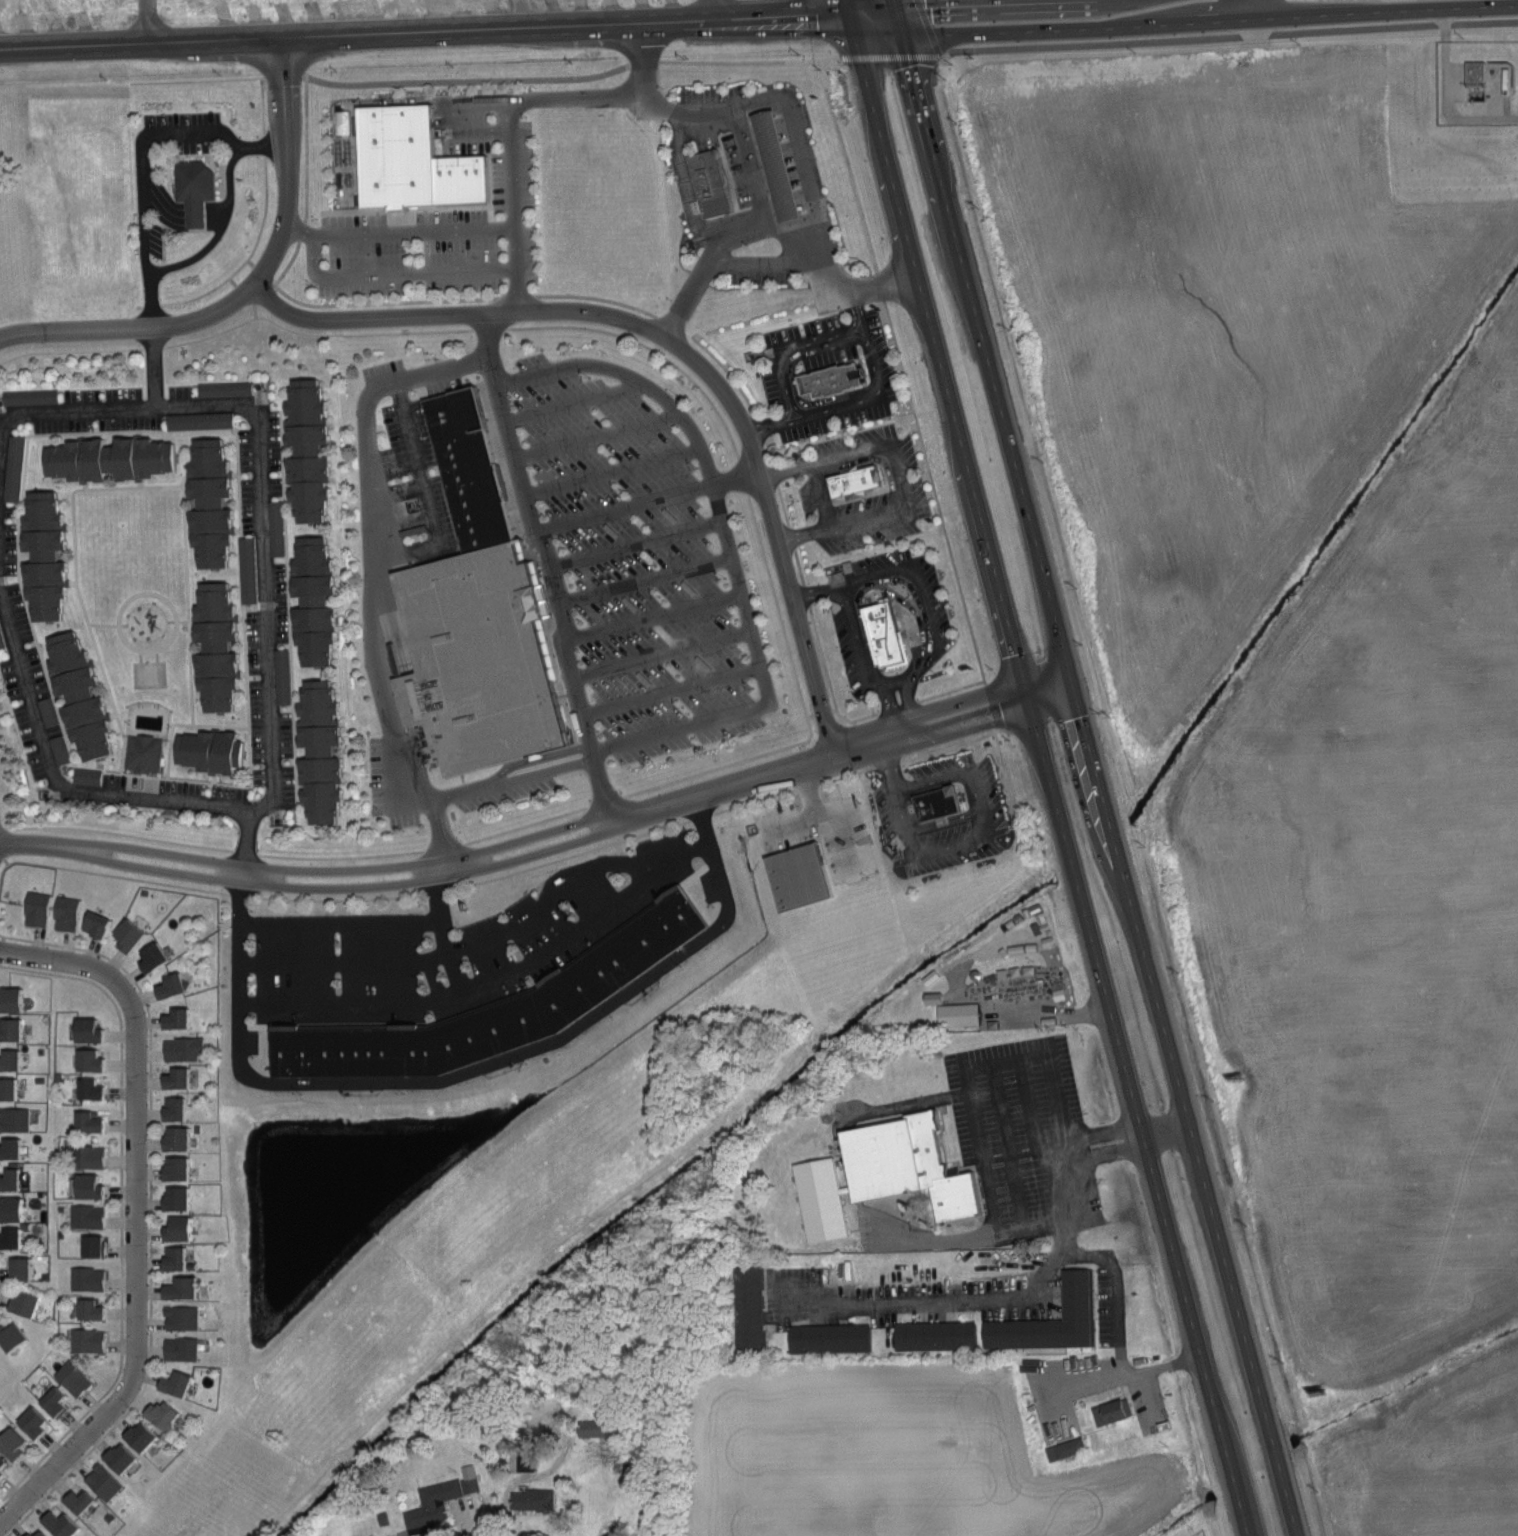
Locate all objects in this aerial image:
road: (848, 6)
road: (861, 6)
road: (1253, 9)
road: (718, 11)
traffic signals: (850, 12)
road: (1182, 20)
road: (149, 25)
traffic signals: (901, 29)
road: (1228, 33)
road: (425, 39)
road: (805, 45)
road: (731, 60)
building: (1472, 70)
road: (463, 79)
road: (140, 80)
road: (579, 100)
road: (656, 103)
road: (262, 111)
road: (762, 114)
building: (339, 121)
parking lot: (185, 130)
road: (197, 132)
road: (767, 132)
road: (481, 134)
road: (307, 147)
building: (399, 154)
road: (181, 155)
road: (211, 155)
road: (773, 155)
road: (802, 157)
road: (847, 165)
building: (780, 166)
road: (747, 169)
road: (144, 175)
building: (463, 178)
road: (779, 178)
road: (685, 182)
building: (712, 182)
parking lot: (712, 182)
building: (198, 187)
parking lot: (749, 187)
road: (784, 198)
road: (176, 208)
road: (513, 208)
road: (405, 209)
road: (787, 213)
road: (176, 215)
road: (176, 223)
parking lot: (445, 225)
road: (727, 232)
road: (416, 233)
parking lot: (150, 234)
road: (218, 235)
road: (818, 236)
road: (316, 237)
road: (793, 238)
road: (144, 243)
road: (163, 245)
road: (251, 251)
road: (289, 263)
road: (779, 263)
road: (416, 273)
road: (247, 293)
road: (596, 296)
road: (381, 301)
road: (250, 319)
road: (355, 334)
road: (205, 336)
road: (860, 338)
road: (647, 347)
road: (680, 347)
road: (151, 370)
road: (729, 372)
parking lot: (827, 373)
building: (833, 380)
parking lot: (833, 381)
building: (227, 389)
building: (33, 398)
road: (999, 402)
road: (570, 403)
building: (203, 421)
road: (770, 425)
road: (956, 427)
road: (594, 435)
road: (769, 445)
building: (312, 452)
building: (113, 460)
road: (418, 467)
building: (16, 469)
road: (611, 469)
road: (898, 469)
building: (473, 470)
road: (784, 471)
road: (735, 479)
building: (858, 481)
parking lot: (857, 483)
parking lot: (863, 489)
road: (821, 495)
road: (184, 503)
building: (215, 503)
road: (782, 504)
road: (381, 506)
road: (623, 506)
road: (943, 522)
building: (279, 529)
road: (803, 533)
road: (633, 543)
road: (728, 547)
road: (418, 556)
building: (48, 557)
parking lot: (641, 557)
road: (799, 565)
road: (370, 567)
building: (250, 570)
road: (546, 572)
road: (873, 572)
road: (643, 580)
road: (818, 591)
building: (318, 602)
road: (652, 619)
road: (175, 620)
road: (178, 621)
parking lot: (881, 624)
road: (108, 625)
building: (886, 630)
parking lot: (886, 636)
building: (2, 639)
building: (220, 647)
road: (660, 651)
building: (482, 660)
crop: (1311, 676)
building: (284, 678)
road: (828, 680)
road: (270, 682)
traffic signals: (1074, 682)
road: (897, 684)
road: (670, 693)
traffic signals: (1022, 695)
building: (84, 698)
road: (804, 709)
building: (49, 713)
road: (232, 726)
road: (391, 731)
road: (863, 747)
building: (60, 751)
building: (215, 752)
building: (325, 753)
building: (145, 756)
road: (888, 764)
road: (389, 774)
building: (90, 778)
road: (510, 779)
road: (119, 784)
road: (167, 789)
road: (981, 801)
road: (408, 803)
building: (942, 804)
road: (827, 816)
road: (905, 821)
road: (527, 825)
road: (1110, 825)
road: (548, 833)
road: (246, 837)
road: (42, 845)
road: (554, 847)
road: (164, 852)
road: (341, 856)
road: (1068, 862)
road: (449, 865)
road: (162, 870)
road: (345, 870)
road: (107, 874)
road: (244, 874)
building: (803, 876)
road: (349, 888)
building: (39, 909)
building: (69, 914)
building: (100, 923)
road: (339, 923)
building: (134, 935)
road: (440, 937)
road: (465, 943)
building: (156, 957)
building: (174, 986)
road: (456, 993)
building: (930, 996)
building: (14, 1001)
building: (498, 1011)
road: (1055, 1012)
building: (962, 1016)
building: (180, 1018)
building: (13, 1030)
building: (92, 1031)
building: (186, 1050)
building: (94, 1059)
building: (12, 1060)
building: (182, 1078)
road: (969, 1084)
building: (10, 1089)
building: (95, 1089)
building: (179, 1109)
building: (15, 1119)
building: (93, 1121)
road: (1035, 1135)
building: (181, 1139)
road: (1003, 1139)
road: (1192, 1141)
building: (13, 1148)
building: (94, 1156)
building: (180, 1168)
building: (913, 1168)
road: (1151, 1172)
building: (13, 1179)
building: (93, 1186)
building: (180, 1198)
building: (824, 1202)
building: (14, 1208)
road: (151, 1210)
road: (121, 1212)
road: (137, 1214)
building: (90, 1217)
building: (181, 1229)
building: (12, 1236)
building: (96, 1247)
building: (178, 1258)
building: (23, 1269)
building: (90, 1280)
road: (1037, 1286)
building: (185, 1288)
road: (1, 1295)
building: (29, 1303)
building: (755, 1309)
building: (95, 1310)
building: (185, 1317)
building: (1055, 1322)
building: (14, 1335)
building: (939, 1337)
building: (90, 1340)
building: (833, 1340)
building: (184, 1349)
road: (1129, 1377)
building: (77, 1379)
building: (180, 1384)
building: (59, 1403)
building: (1114, 1413)
building: (168, 1415)
building: (38, 1424)
building: (590, 1427)
building: (145, 1436)
building: (17, 1443)
building: (1073, 1448)
road: (1279, 1457)
building: (124, 1458)
building: (523, 1461)
building: (3, 1466)
road: (1235, 1480)
building: (106, 1483)
building: (438, 1497)
building: (529, 1499)
building: (84, 1502)
road: (1292, 1507)
road: (491, 1515)
road: (1245, 1516)
building: (64, 1523)
building: (32, 1533)
building: (41, 1533)

